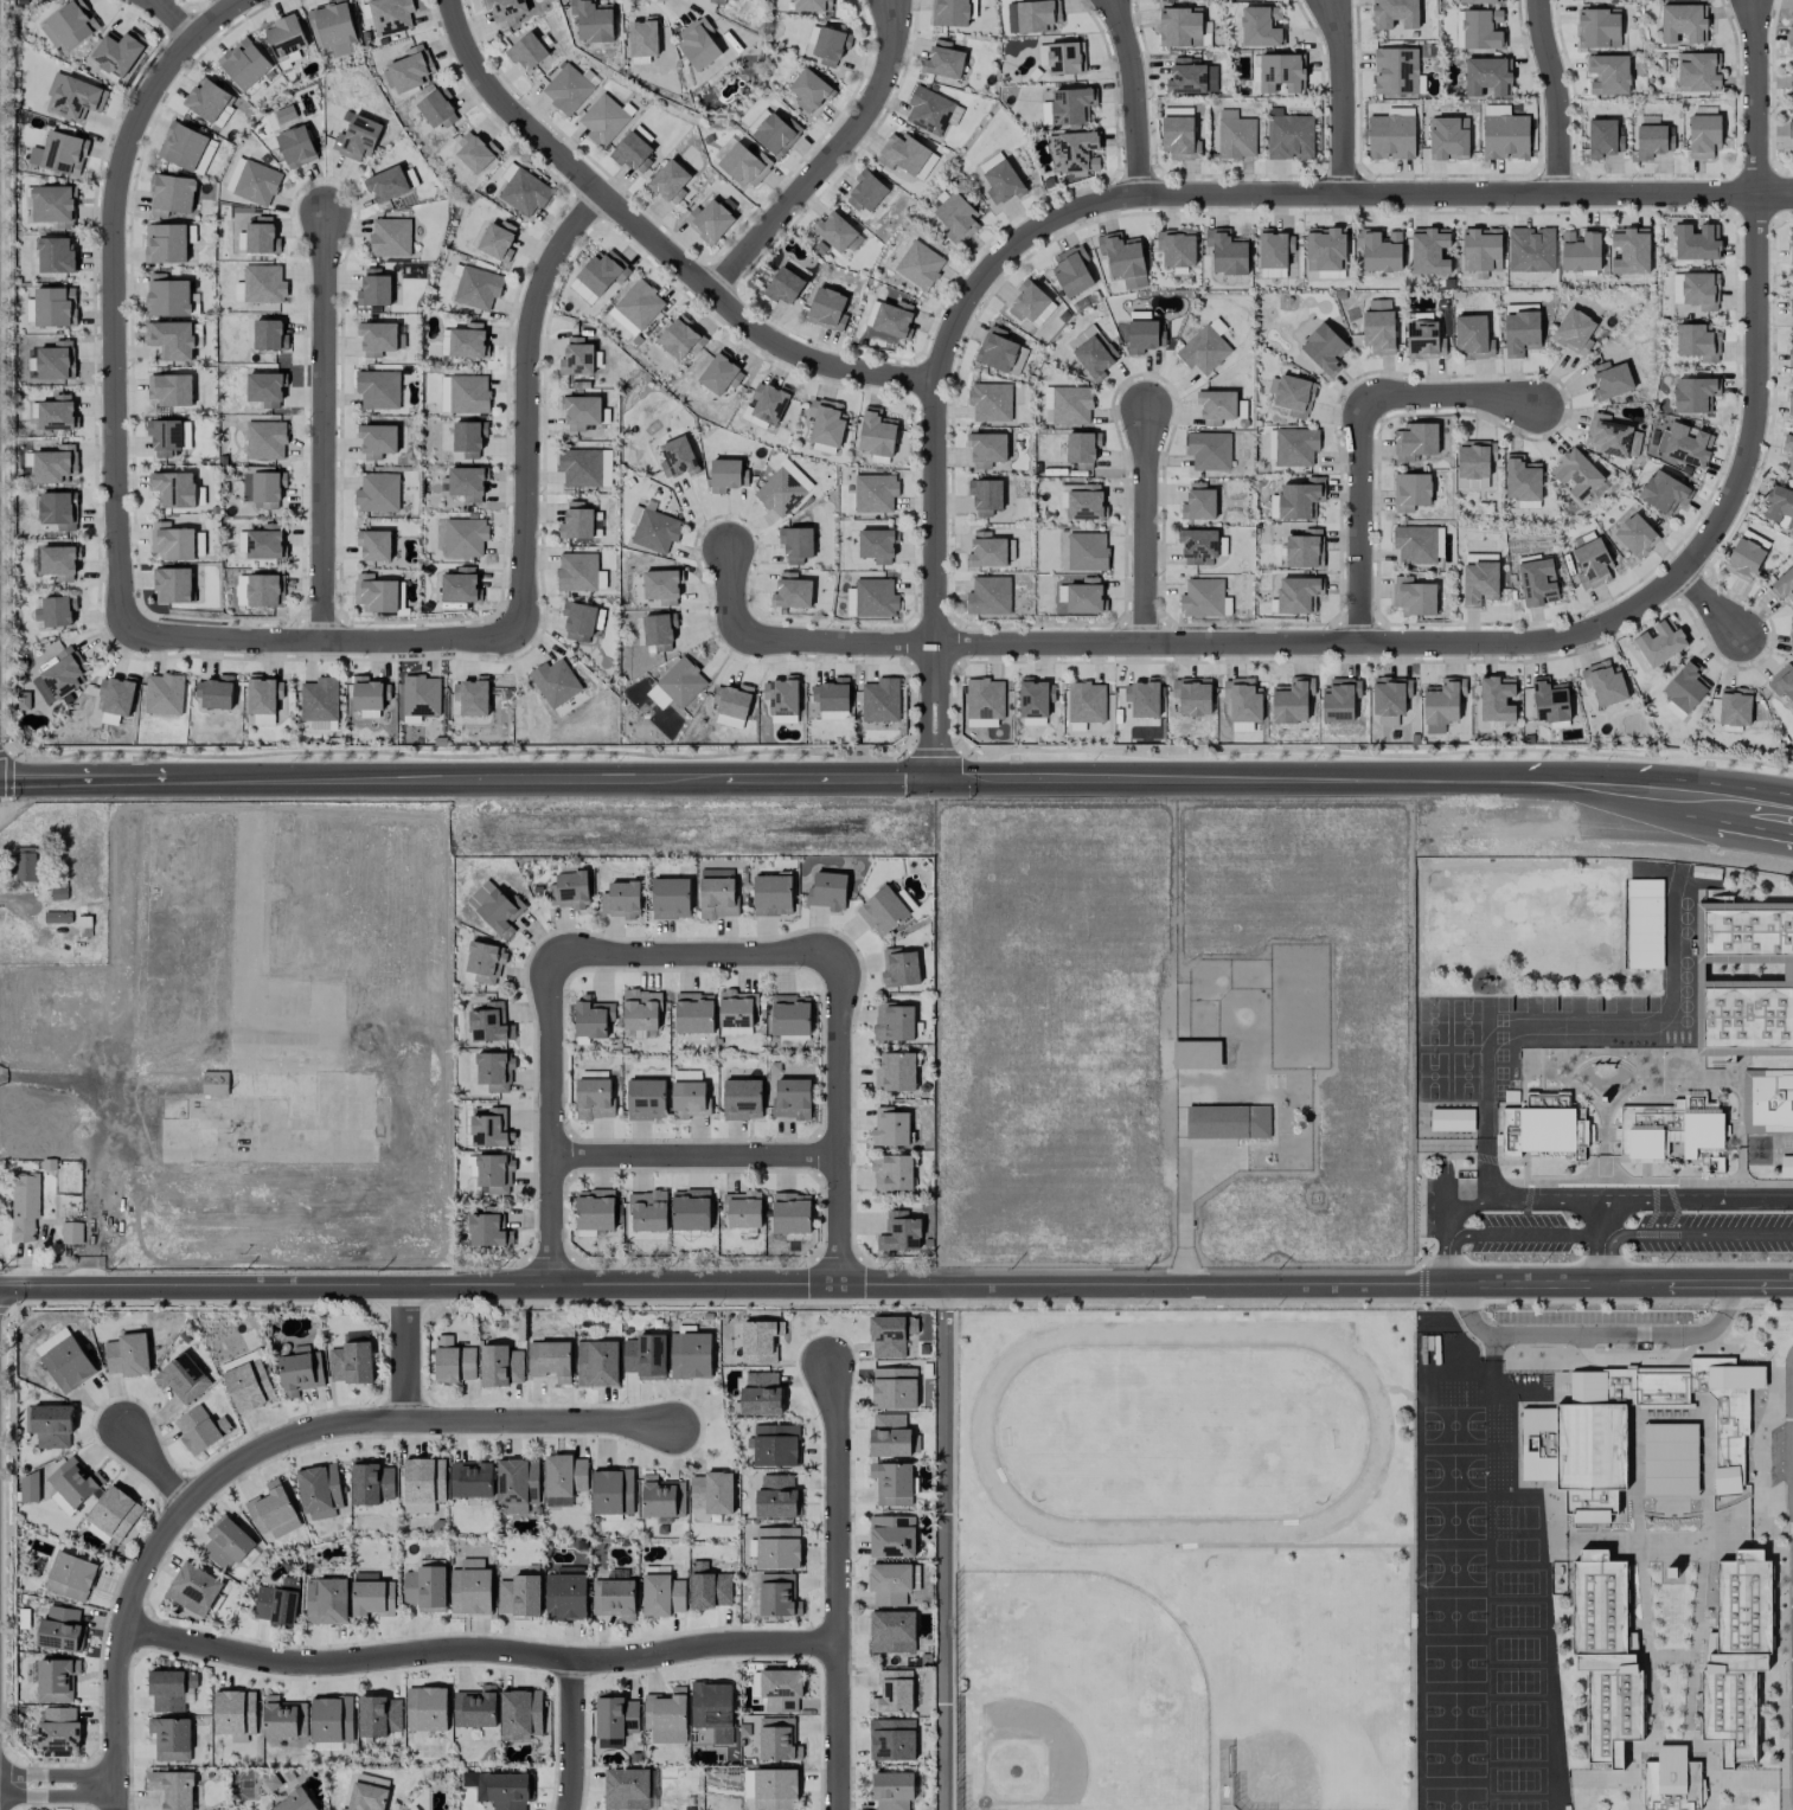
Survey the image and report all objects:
building: (735, 0)
building: (1268, 0)
building: (1573, 0)
building: (717, 1)
building: (1479, 1)
building: (812, 6)
building: (505, 11)
building: (949, 13)
building: (1395, 13)
building: (390, 15)
building: (1032, 15)
road: (172, 20)
building: (593, 21)
building: (1684, 23)
building: (332, 24)
building: (70, 25)
building: (1180, 27)
building: (1259, 27)
building: (1599, 28)
building: (1483, 30)
building: (286, 38)
building: (643, 38)
building: (1789, 38)
building: (698, 44)
building: (831, 46)
building: (526, 52)
building: (117, 53)
building: (1062, 57)
building: (943, 60)
building: (244, 64)
building: (410, 70)
building: (1396, 71)
building: (1698, 72)
building: (1277, 73)
building: (1608, 73)
building: (1488, 76)
building: (1191, 78)
building: (568, 90)
building: (809, 90)
building: (1791, 90)
road: (1134, 96)
building: (75, 97)
road: (1341, 97)
road: (1558, 97)
building: (207, 100)
building: (1071, 105)
building: (437, 109)
building: (928, 110)
building: (286, 114)
building: (603, 121)
building: (1791, 129)
building: (776, 134)
building: (1236, 135)
building: (1288, 136)
building: (1391, 136)
building: (1505, 136)
building: (1703, 136)
building: (1178, 137)
building: (1603, 137)
building: (357, 139)
building: (1448, 139)
building: (1653, 141)
building: (181, 146)
building: (296, 147)
building: (1078, 152)
building: (60, 153)
building: (207, 153)
building: (475, 153)
building: (632, 153)
building: (903, 154)
road: (828, 159)
building: (991, 161)
building: (744, 165)
building: (670, 182)
building: (257, 184)
building: (1003, 184)
building: (386, 185)
building: (524, 192)
building: (866, 192)
building: (171, 194)
road: (1118, 199)
building: (53, 205)
building: (956, 219)
building: (709, 220)
building: (835, 231)
building: (261, 237)
building: (390, 237)
building: (498, 242)
road: (653, 242)
building: (1697, 242)
building: (166, 244)
building: (1177, 248)
building: (1791, 248)
building: (1274, 249)
building: (1325, 249)
building: (1379, 250)
building: (1481, 250)
building: (1530, 250)
building: (1581, 250)
building: (1631, 250)
building: (1429, 251)
building: (1227, 252)
building: (56, 255)
building: (1123, 259)
building: (920, 265)
building: (603, 271)
building: (1072, 271)
building: (263, 284)
building: (785, 287)
building: (478, 288)
building: (374, 289)
building: (1701, 290)
building: (582, 291)
road: (116, 296)
building: (167, 296)
building: (1030, 303)
building: (640, 304)
building: (55, 307)
building: (1791, 307)
building: (827, 309)
building: (894, 319)
building: (622, 321)
building: (1378, 327)
building: (1574, 332)
building: (1520, 333)
building: (269, 335)
building: (1144, 336)
building: (680, 338)
building: (1473, 338)
building: (377, 339)
building: (171, 340)
building: (1423, 340)
building: (468, 342)
building: (1698, 342)
building: (1324, 349)
building: (1203, 351)
building: (1791, 351)
building: (1000, 352)
building: (577, 358)
building: (56, 361)
building: (721, 373)
building: (1611, 380)
building: (265, 389)
building: (171, 390)
building: (378, 390)
building: (468, 394)
building: (1695, 394)
building: (1294, 396)
building: (991, 402)
building: (766, 405)
building: (1046, 405)
building: (1071, 405)
building: (1789, 405)
road: (529, 406)
building: (1216, 406)
building: (581, 411)
building: (57, 413)
building: (826, 422)
road: (326, 425)
building: (877, 434)
road: (1359, 435)
building: (165, 437)
building: (1613, 437)
building: (469, 438)
building: (265, 441)
building: (377, 441)
building: (1415, 441)
building: (1686, 445)
building: (1082, 447)
building: (1295, 447)
building: (986, 449)
building: (1209, 450)
building: (1788, 450)
building: (677, 458)
building: (1474, 458)
building: (55, 464)
building: (579, 467)
building: (606, 468)
building: (726, 475)
building: (1576, 475)
building: (1522, 479)
building: (468, 483)
building: (173, 489)
building: (263, 489)
building: (782, 489)
building: (1411, 492)
building: (378, 493)
building: (875, 493)
building: (1664, 493)
building: (986, 496)
building: (1300, 499)
building: (1198, 502)
building: (1086, 503)
building: (1779, 506)
building: (59, 511)
building: (577, 522)
road: (1145, 526)
building: (655, 531)
building: (1635, 537)
building: (465, 538)
building: (1755, 539)
building: (172, 541)
building: (1439, 541)
building: (265, 543)
building: (796, 544)
building: (1415, 544)
building: (374, 545)
building: (877, 545)
building: (1198, 546)
building: (1305, 548)
building: (986, 551)
building: (1087, 551)
building: (1743, 559)
building: (59, 563)
building: (1592, 564)
building: (577, 572)
building: (1479, 583)
building: (1537, 583)
building: (173, 585)
building: (460, 585)
building: (1784, 585)
building: (662, 586)
building: (264, 590)
building: (792, 592)
building: (378, 593)
road: (730, 595)
building: (1299, 595)
building: (990, 596)
building: (1414, 597)
building: (875, 598)
building: (1080, 598)
building: (1203, 598)
road: (1710, 604)
building: (57, 610)
building: (578, 621)
building: (659, 630)
building: (1792, 640)
road: (324, 641)
building: (1659, 642)
road: (1513, 646)
building: (60, 676)
building: (1782, 681)
building: (555, 682)
building: (681, 682)
building: (1605, 682)
building: (1686, 686)
building: (216, 692)
building: (369, 693)
building: (164, 694)
building: (263, 694)
building: (117, 695)
building: (421, 695)
building: (782, 695)
building: (832, 695)
building: (1390, 695)
building: (473, 697)
building: (1192, 697)
building: (658, 698)
building: (1035, 698)
building: (1144, 698)
building: (320, 699)
building: (1243, 699)
building: (1340, 699)
building: (1497, 699)
building: (732, 700)
building: (881, 700)
building: (1292, 700)
building: (1550, 700)
building: (1443, 701)
building: (984, 702)
building: (1086, 702)
building: (1735, 706)
building: (1673, 710)
building: (729, 721)
building: (322, 726)
building: (1434, 729)
road: (446, 781)
road: (832, 781)
road: (1306, 781)
road: (83, 782)
road: (1730, 794)
road: (1791, 801)
building: (25, 864)
building: (716, 873)
building: (570, 891)
building: (827, 891)
building: (773, 896)
building: (671, 898)
building: (718, 898)
building: (621, 900)
building: (907, 900)
building: (495, 909)
building: (883, 911)
building: (1645, 924)
road: (696, 955)
building: (485, 962)
building: (899, 968)
building: (1744, 978)
building: (641, 1010)
building: (694, 1013)
building: (736, 1013)
building: (790, 1015)
building: (591, 1018)
building: (894, 1022)
building: (491, 1023)
building: (1197, 1054)
building: (895, 1071)
building: (495, 1072)
building: (214, 1083)
building: (689, 1095)
building: (594, 1098)
building: (792, 1098)
building: (646, 1099)
building: (742, 1099)
building: (1767, 1100)
road: (552, 1121)
building: (1449, 1121)
road: (838, 1122)
building: (1228, 1122)
building: (1544, 1127)
building: (491, 1128)
building: (1670, 1128)
building: (891, 1129)
road: (91, 1143)
road: (696, 1155)
building: (1786, 1167)
building: (494, 1174)
building: (894, 1174)
road: (1586, 1201)
building: (25, 1206)
building: (595, 1209)
building: (690, 1209)
road: (1184, 1209)
building: (648, 1212)
building: (790, 1213)
building: (488, 1228)
building: (899, 1232)
building: (71, 1233)
road: (1515, 1235)
road: (1678, 1237)
road: (1595, 1244)
road: (1763, 1286)
road: (866, 1288)
road: (1465, 1297)
building: (890, 1335)
road: (1608, 1335)
building: (51, 1341)
building: (760, 1341)
building: (127, 1355)
building: (690, 1355)
road: (410, 1356)
building: (645, 1356)
building: (550, 1360)
building: (453, 1361)
building: (351, 1363)
building: (597, 1363)
building: (68, 1365)
building: (500, 1366)
building: (300, 1371)
building: (249, 1386)
building: (894, 1388)
building: (761, 1394)
building: (52, 1426)
road: (1792, 1427)
building: (200, 1430)
building: (889, 1436)
building: (1538, 1444)
building: (775, 1445)
road: (263, 1450)
building: (1670, 1458)
building: (1592, 1462)
road: (154, 1470)
building: (564, 1475)
building: (472, 1478)
building: (75, 1482)
building: (371, 1482)
building: (517, 1483)
building: (892, 1483)
building: (423, 1484)
building: (30, 1488)
building: (319, 1490)
building: (613, 1491)
building: (712, 1493)
building: (776, 1496)
building: (662, 1497)
building: (558, 1501)
building: (62, 1503)
building: (115, 1513)
building: (273, 1513)
building: (891, 1536)
building: (226, 1543)
building: (777, 1548)
road: (941, 1548)
building: (70, 1577)
building: (915, 1577)
building: (890, 1584)
building: (470, 1587)
building: (709, 1587)
building: (193, 1588)
building: (425, 1588)
road: (839, 1590)
building: (565, 1594)
building: (519, 1596)
building: (662, 1596)
building: (777, 1596)
building: (371, 1597)
building: (614, 1599)
building: (326, 1602)
building: (277, 1603)
building: (60, 1629)
building: (891, 1631)
road: (480, 1652)
building: (1736, 1655)
building: (1606, 1656)
building: (56, 1680)
building: (171, 1689)
building: (781, 1690)
building: (894, 1692)
building: (475, 1708)
building: (425, 1709)
building: (712, 1709)
building: (520, 1712)
building: (235, 1713)
building: (379, 1716)
building: (666, 1716)
building: (283, 1719)
building: (615, 1719)
building: (331, 1722)
building: (58, 1731)
road: (572, 1734)
building: (171, 1738)
building: (777, 1740)
building: (891, 1740)
building: (1670, 1780)
road: (58, 1786)
building: (173, 1789)
building: (499, 1789)
building: (626, 1789)
building: (774, 1789)
building: (892, 1790)
building: (365, 1797)
building: (295, 1802)
building: (414, 1808)

